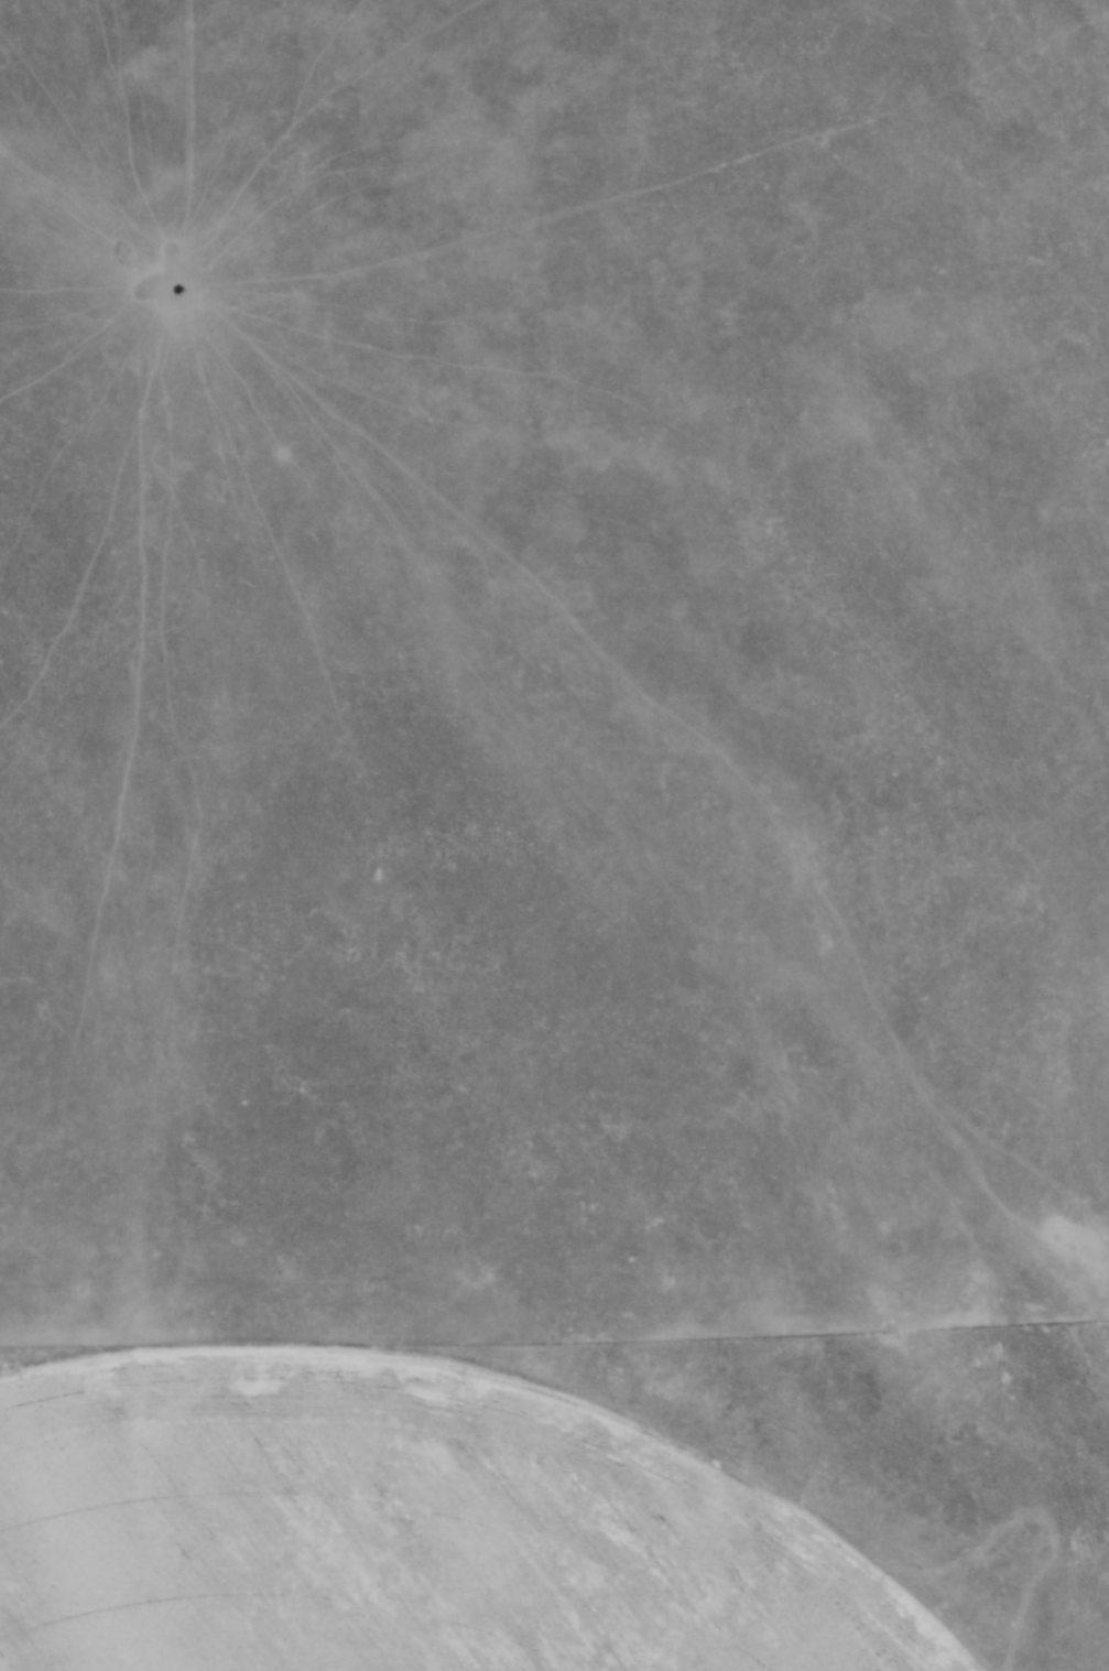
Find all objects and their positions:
crop: (389, 1534)

